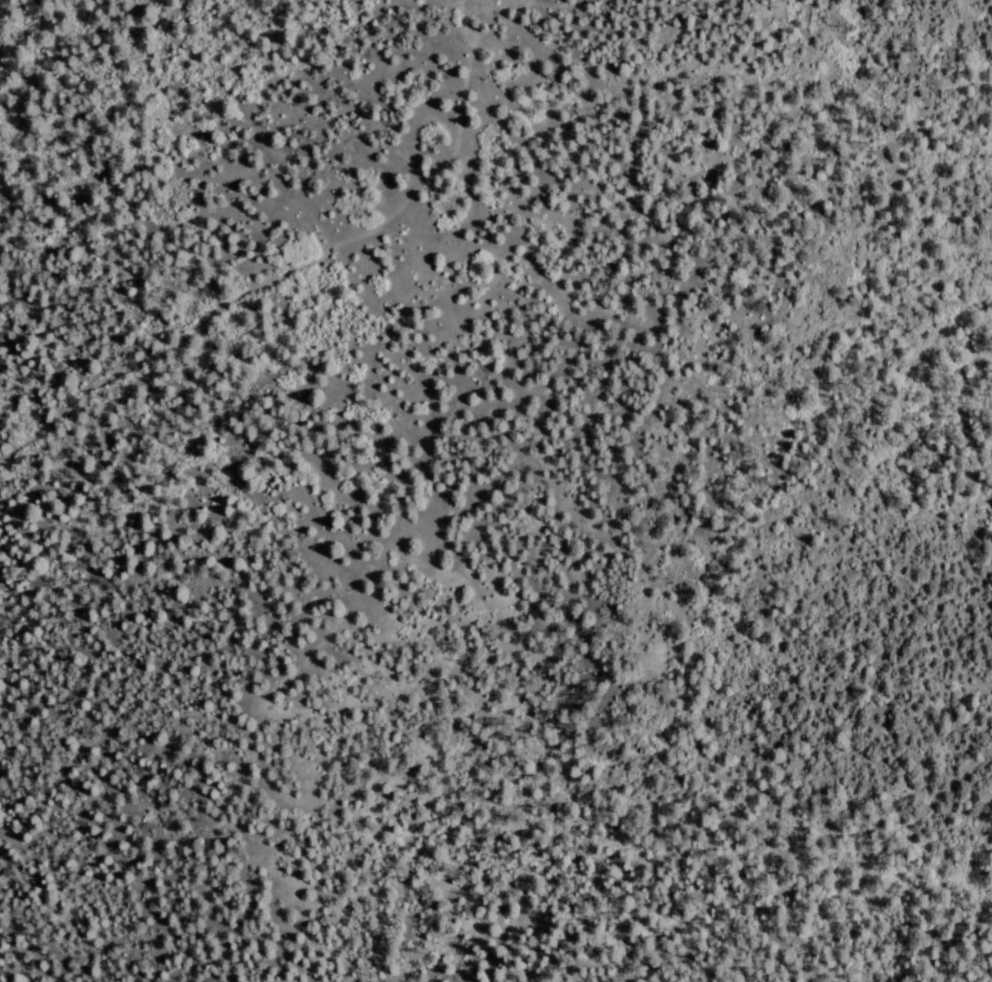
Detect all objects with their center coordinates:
road: (304, 294)
road: (355, 639)

